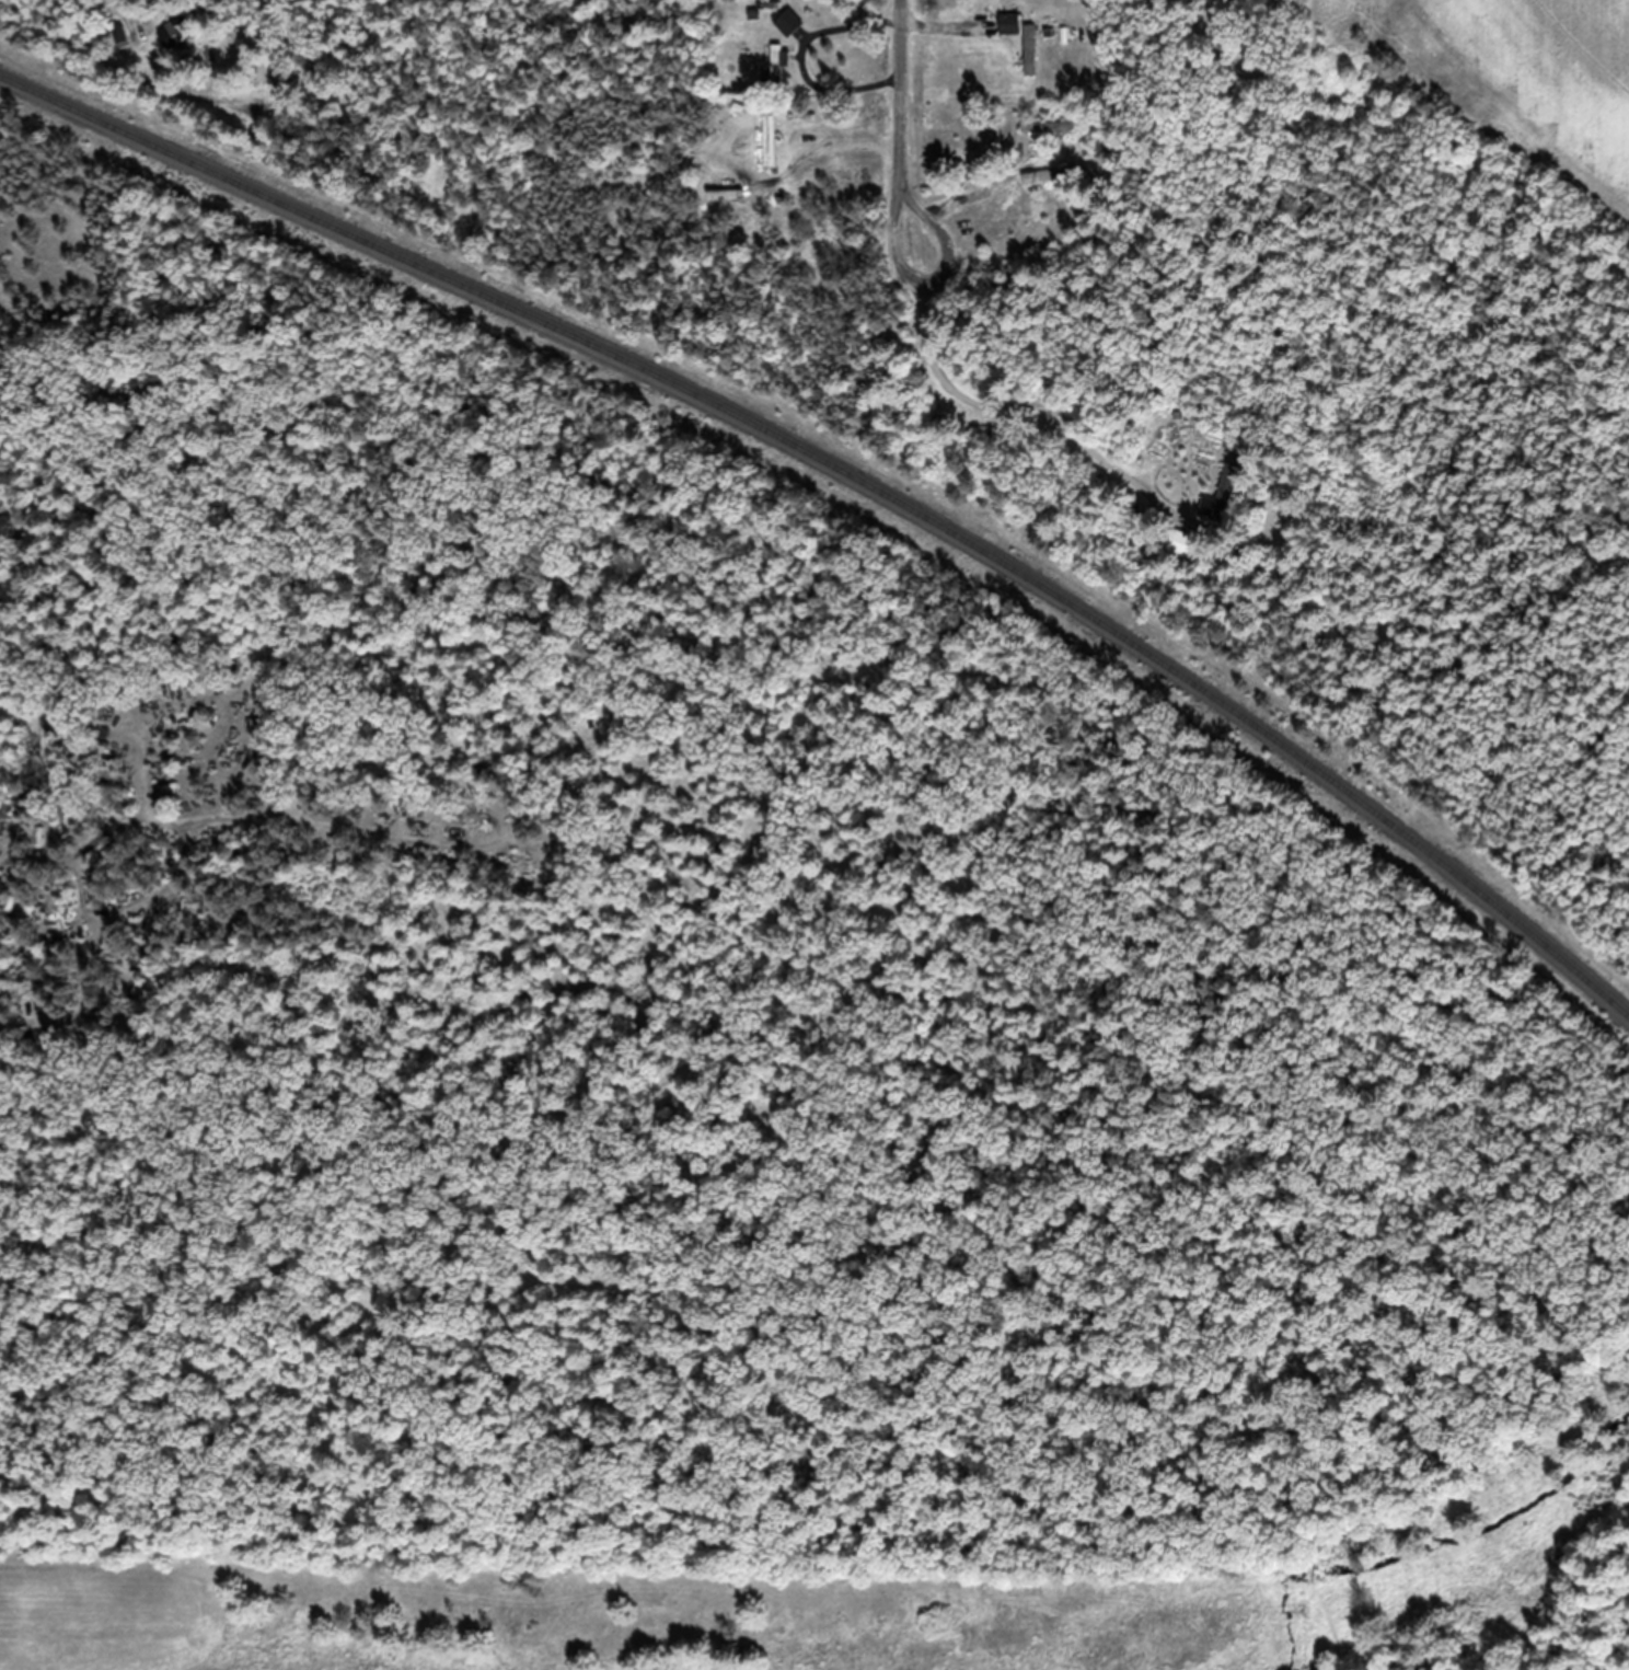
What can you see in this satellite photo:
building: (789, 34)
building: (1008, 35)
building: (177, 46)
building: (122, 48)
building: (1031, 61)
building: (778, 78)
road: (902, 133)
building: (1050, 140)
building: (771, 154)
building: (1050, 187)
railway: (854, 487)

